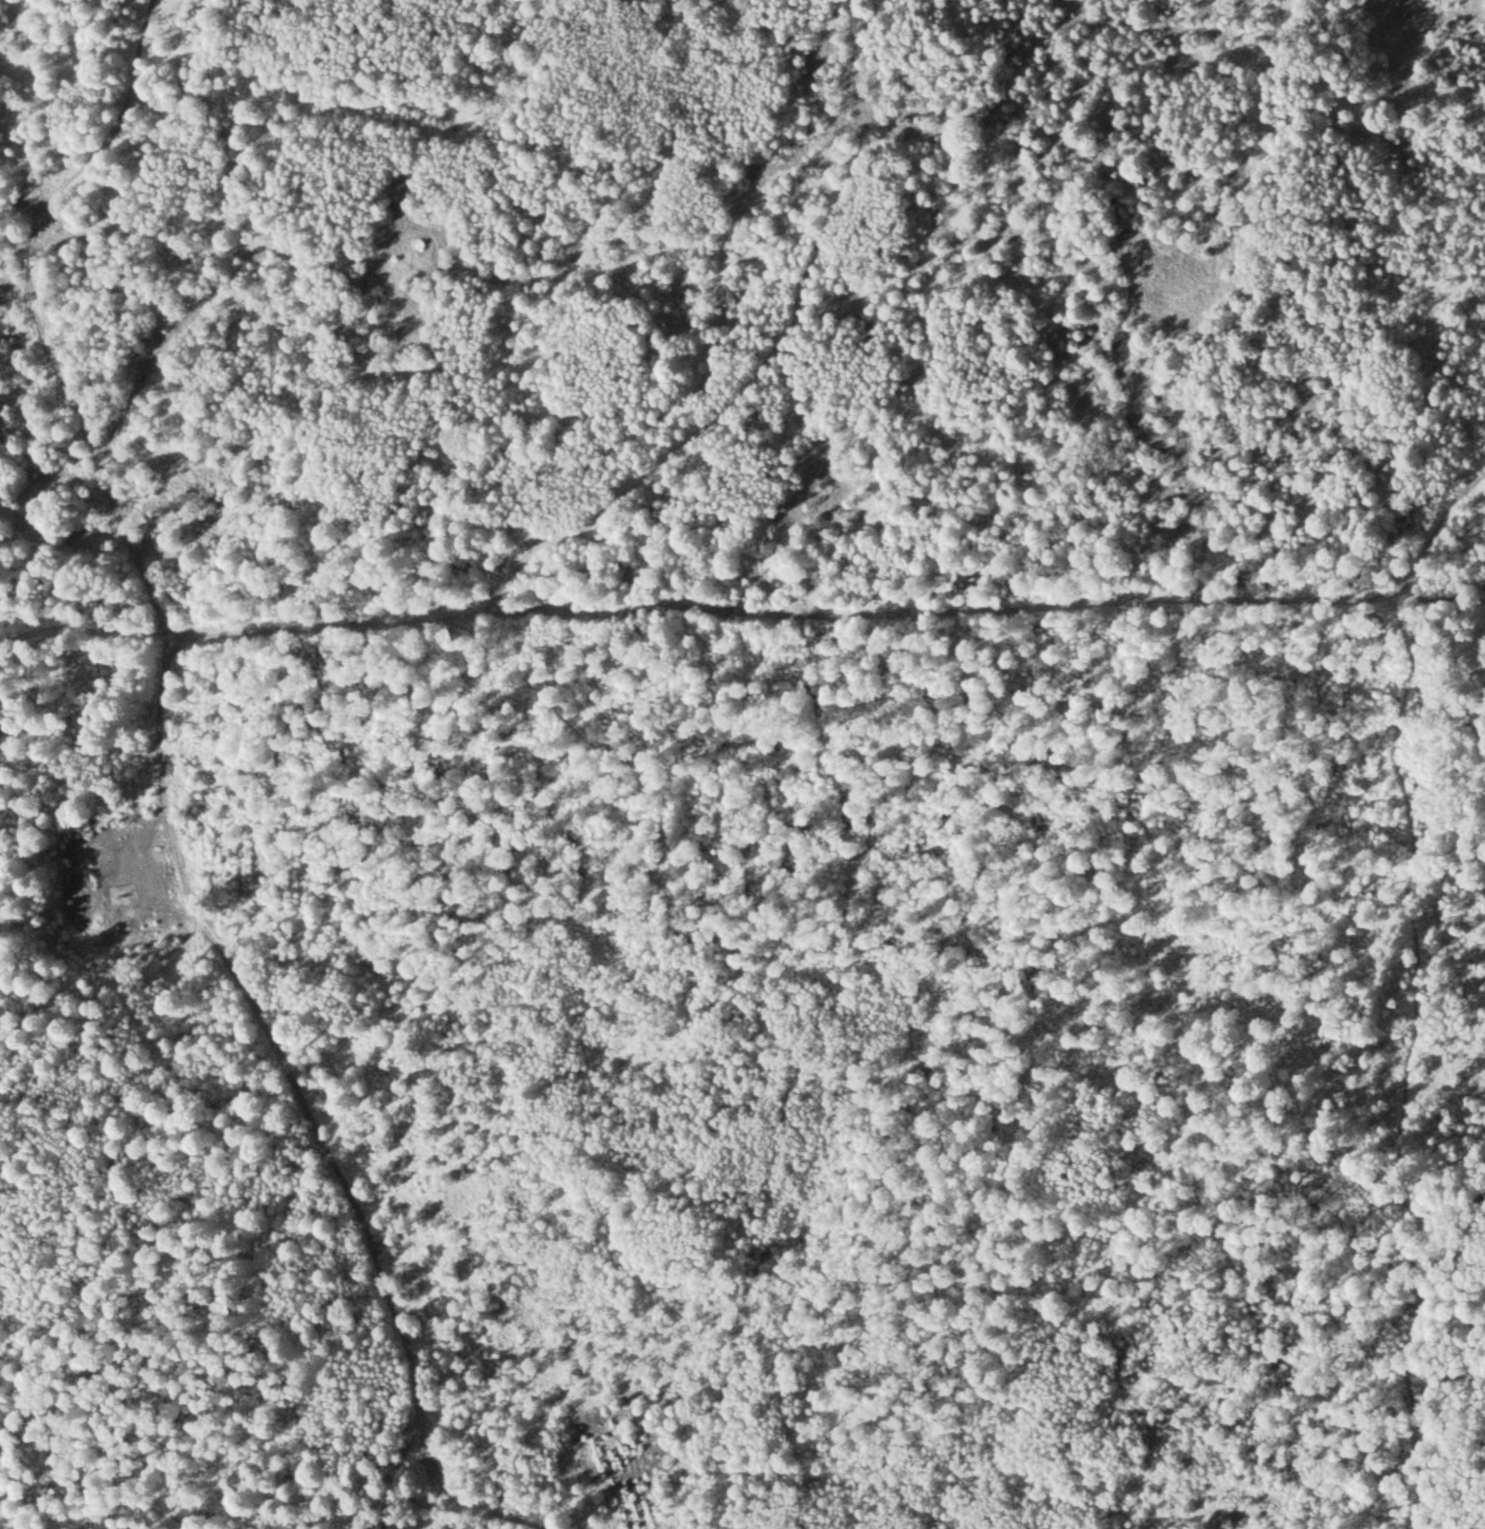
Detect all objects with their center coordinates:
road: (863, 610)
road: (170, 794)

